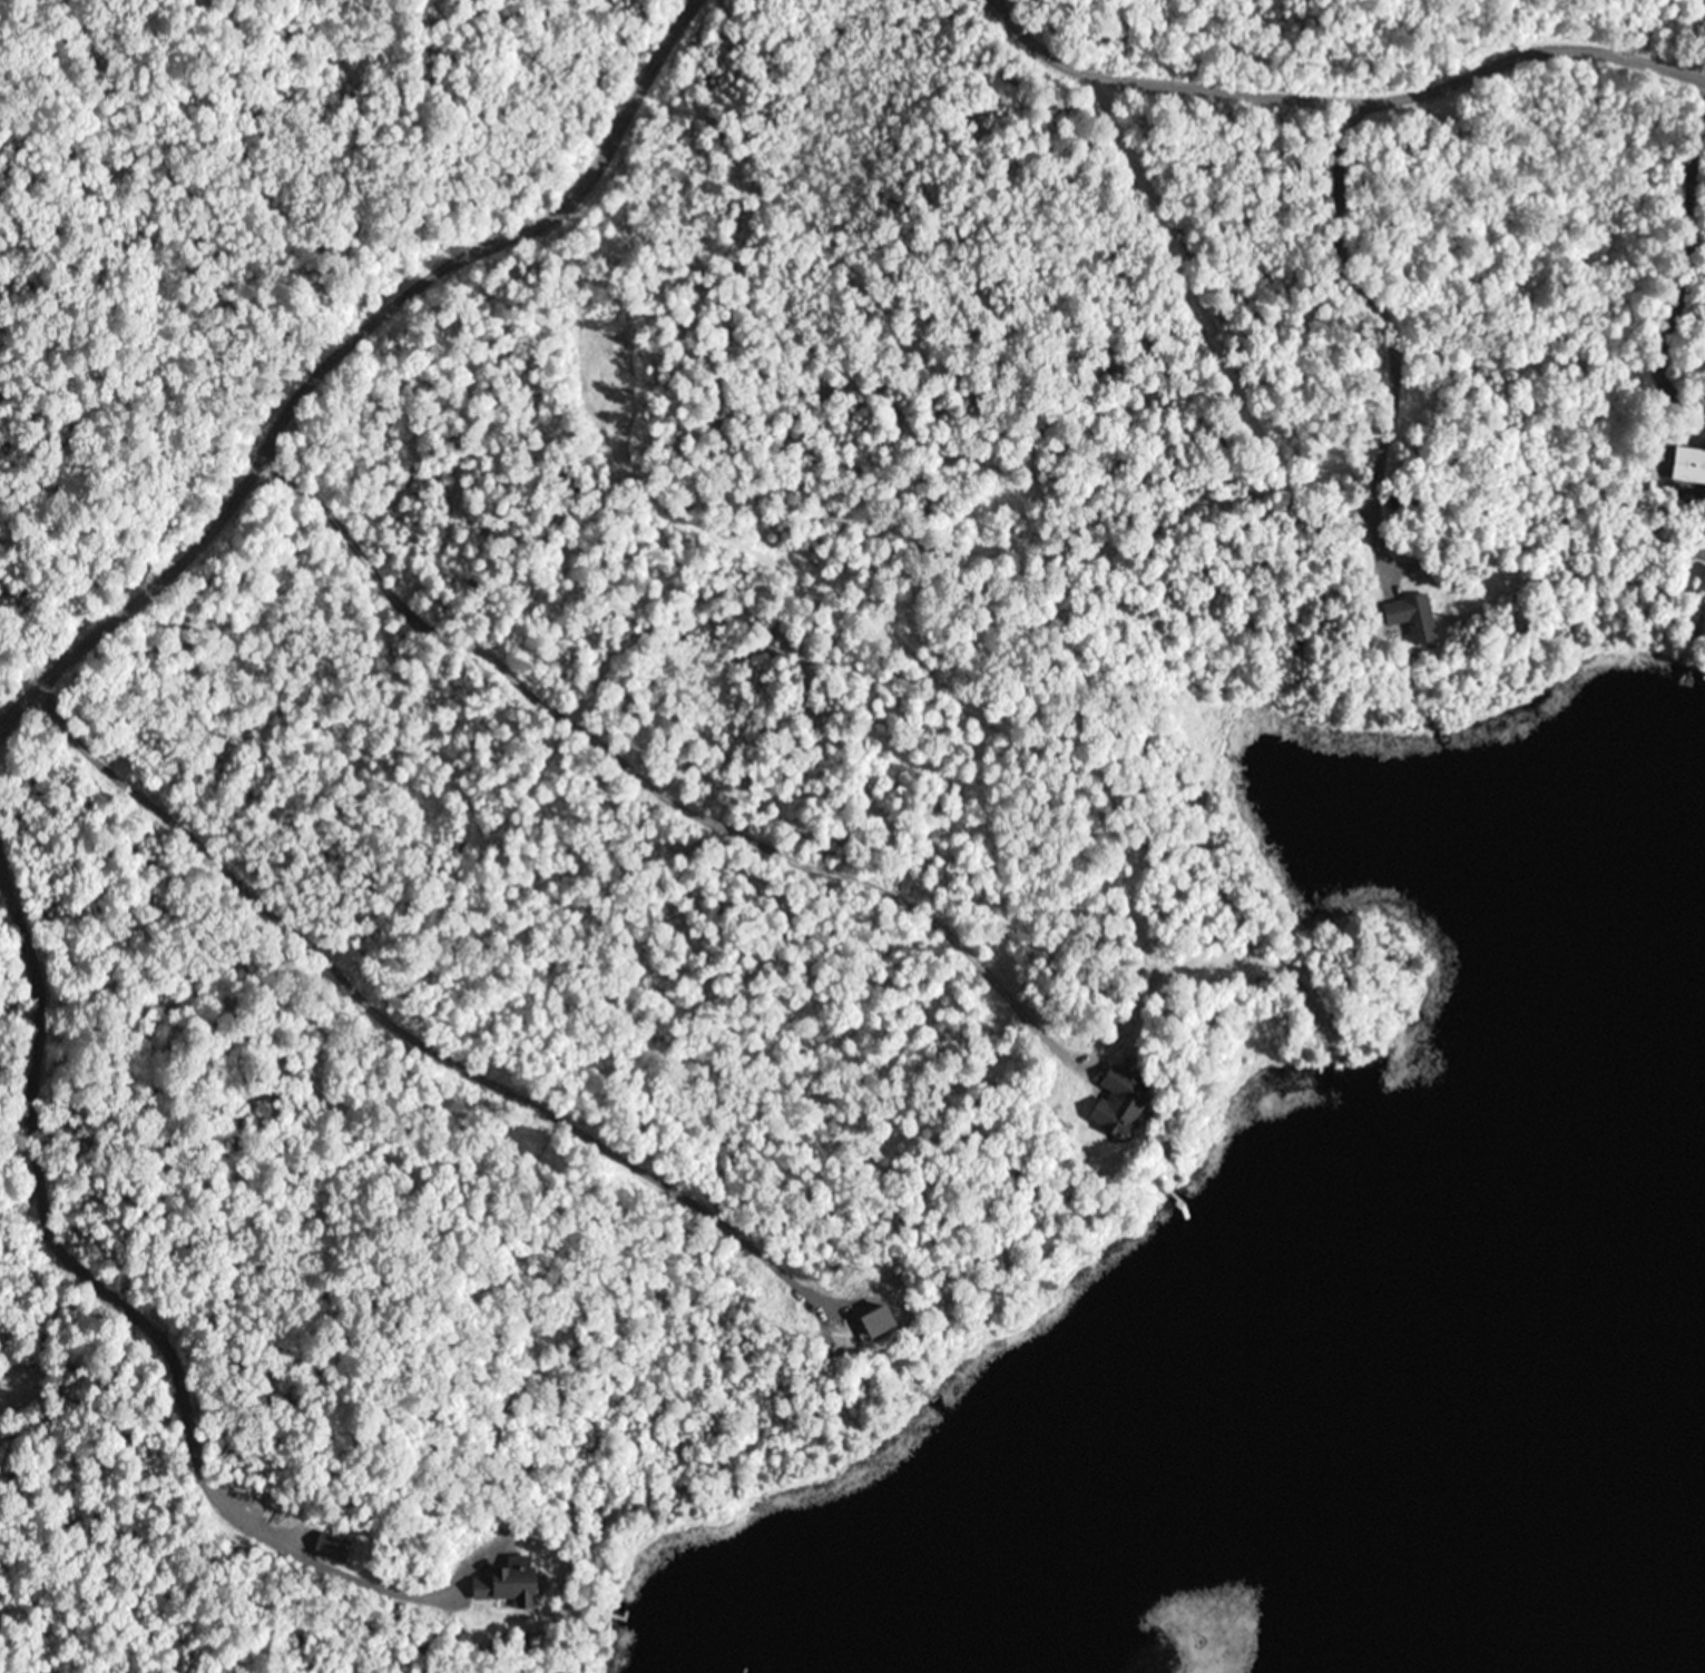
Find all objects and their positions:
road: (1355, 85)
road: (332, 331)
road: (676, 794)
road: (415, 1065)
road: (131, 1283)

